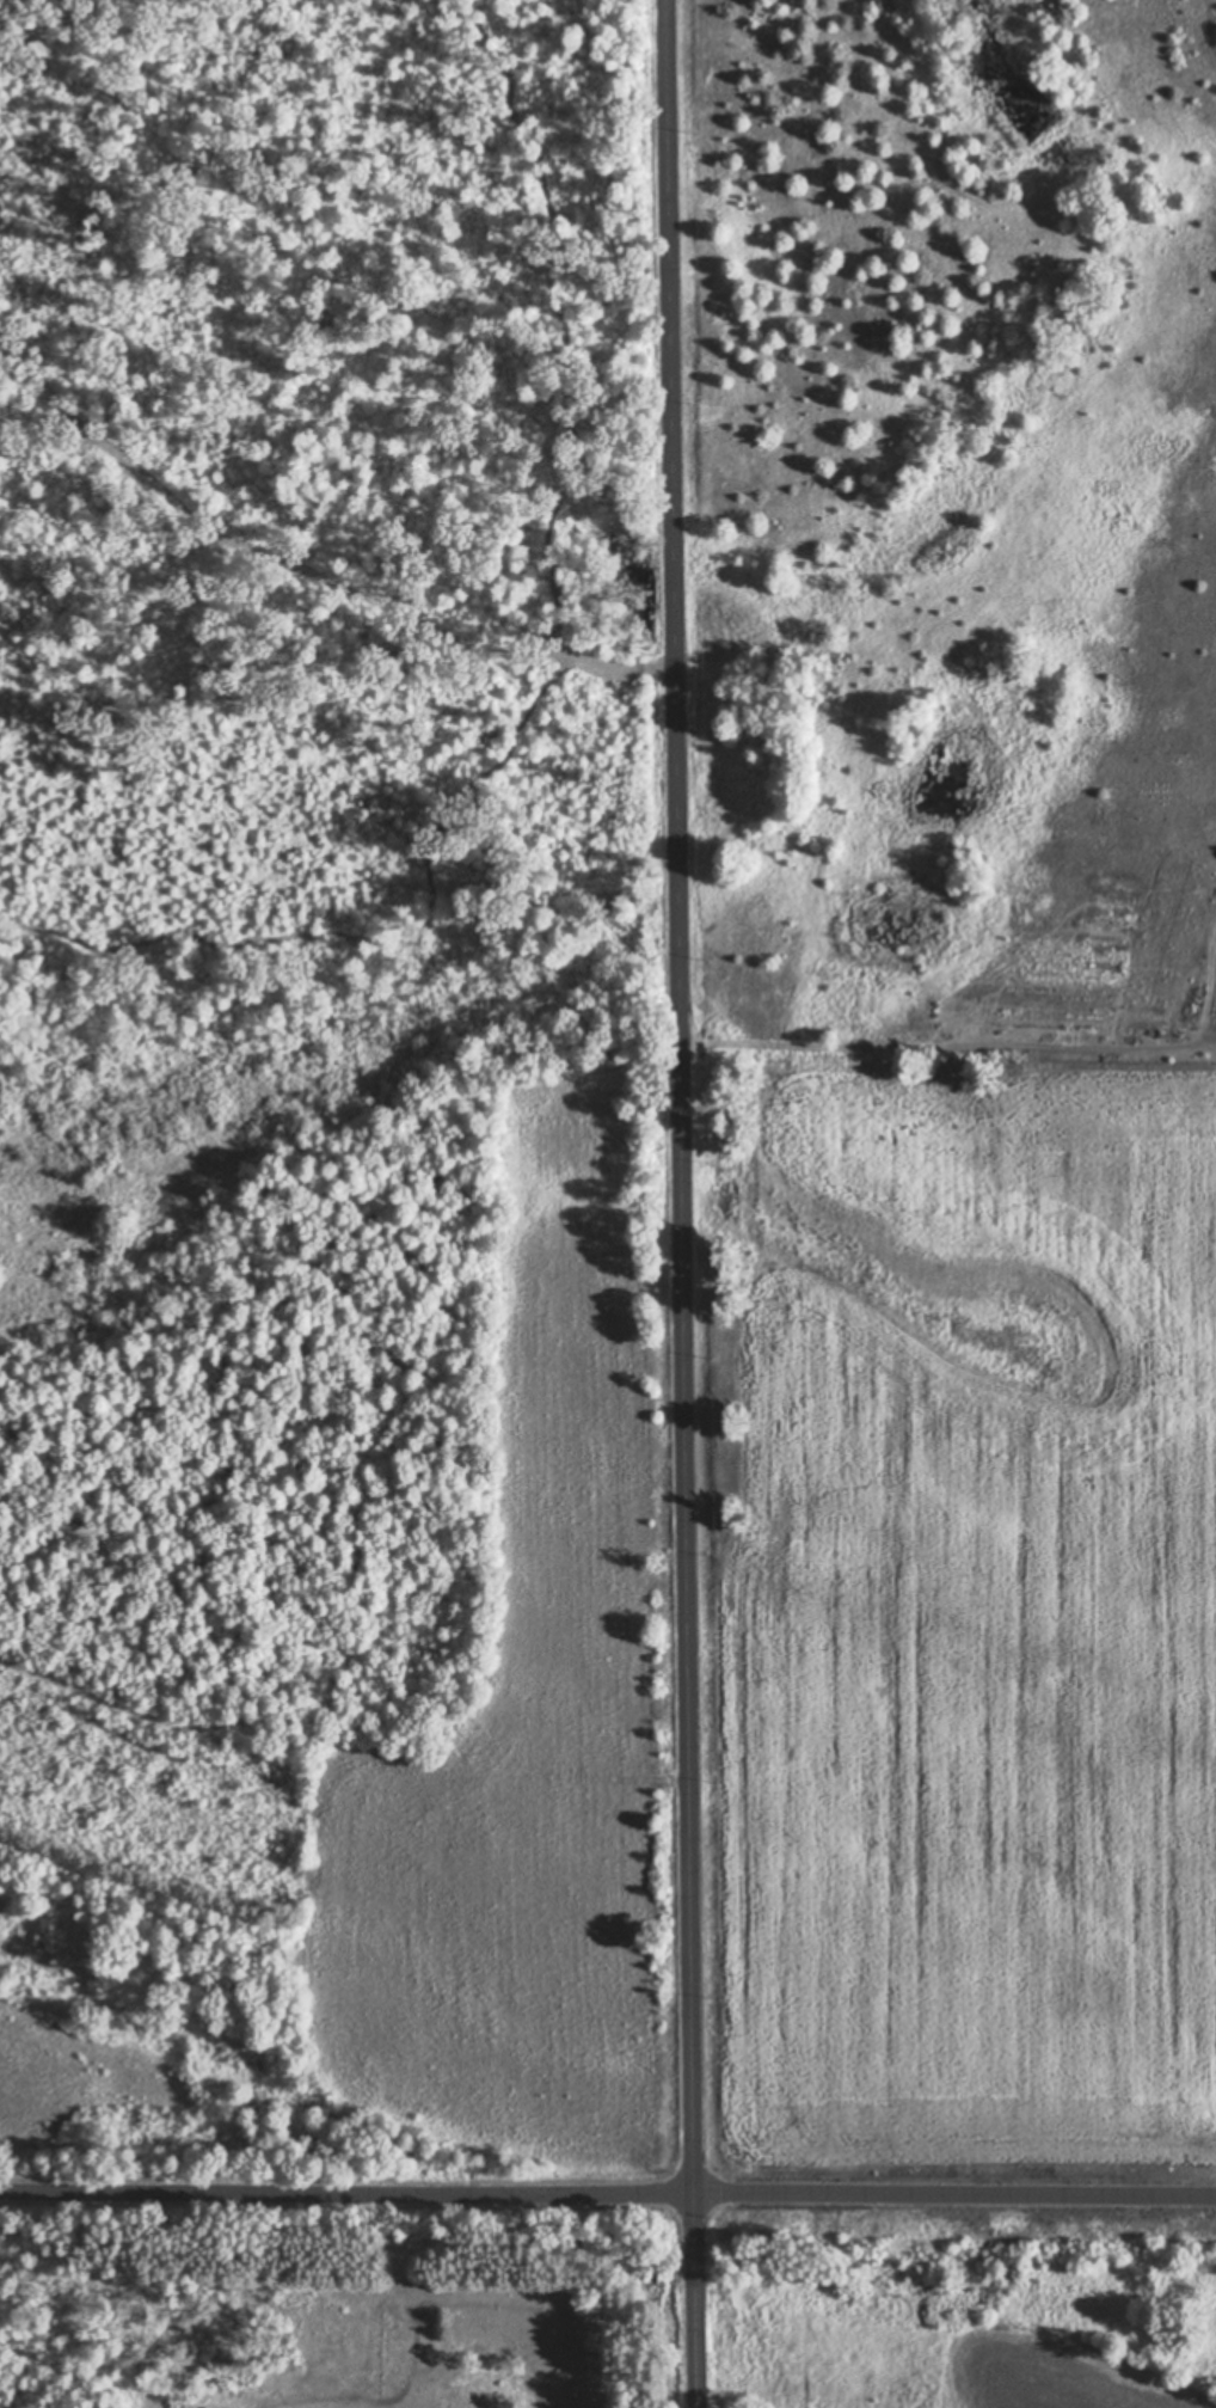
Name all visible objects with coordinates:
road: (680, 1203)
road: (607, 2189)

